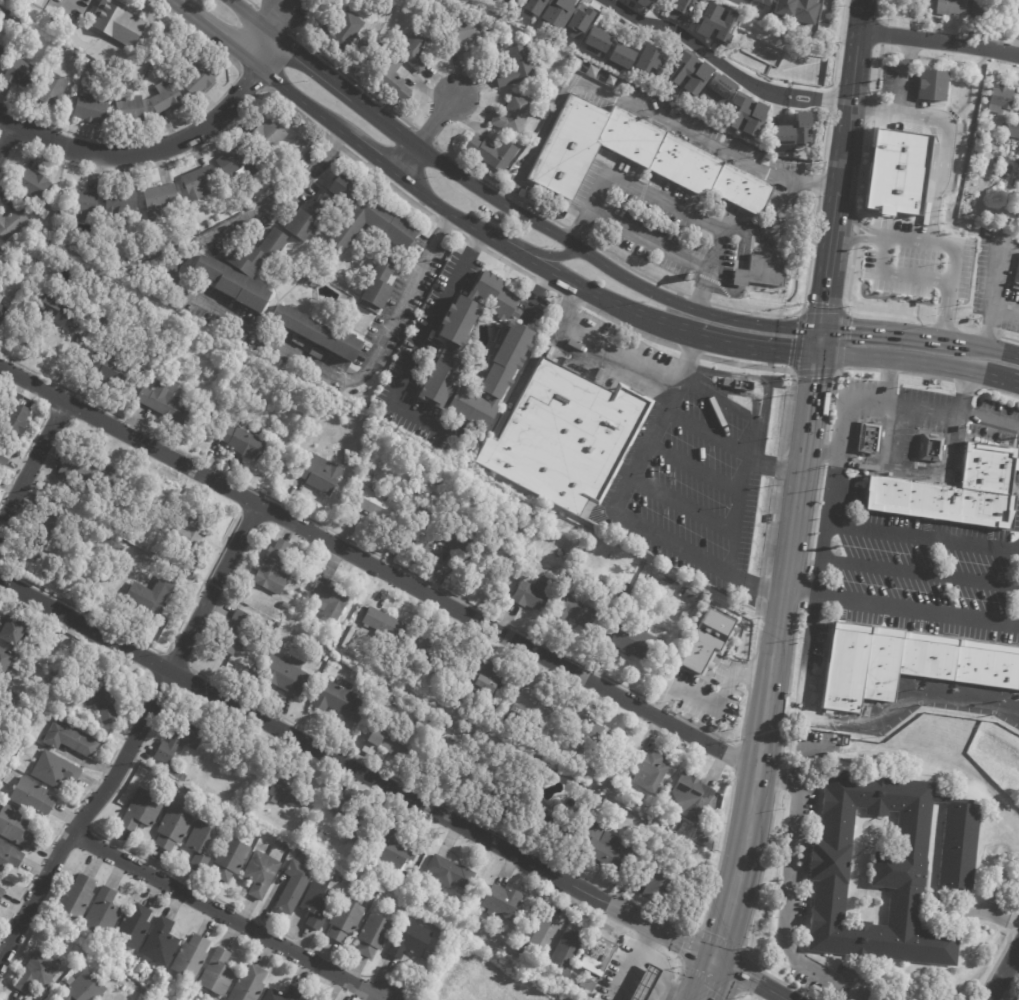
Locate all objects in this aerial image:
building: (643, 2)
building: (766, 2)
road: (252, 3)
building: (532, 7)
building: (949, 7)
road: (62, 8)
building: (976, 9)
building: (1014, 9)
road: (181, 10)
building: (677, 10)
building: (797, 10)
building: (556, 12)
road: (247, 13)
road: (876, 13)
road: (273, 15)
building: (11, 20)
road: (272, 20)
building: (578, 20)
building: (118, 23)
building: (714, 23)
building: (343, 32)
building: (465, 33)
road: (882, 33)
road: (689, 40)
road: (939, 41)
building: (595, 42)
road: (224, 43)
road: (260, 47)
building: (416, 50)
building: (2, 53)
road: (887, 53)
road: (907, 55)
building: (618, 58)
building: (647, 59)
road: (950, 61)
road: (309, 62)
road: (834, 63)
building: (517, 66)
road: (877, 69)
building: (689, 73)
building: (22, 74)
road: (903, 75)
building: (200, 77)
building: (391, 77)
road: (253, 80)
road: (351, 80)
road: (783, 82)
building: (930, 85)
building: (717, 89)
building: (52, 90)
road: (778, 92)
road: (850, 93)
road: (818, 94)
road: (777, 97)
road: (295, 98)
building: (167, 99)
road: (831, 99)
building: (999, 99)
road: (817, 104)
road: (873, 108)
building: (92, 109)
building: (129, 110)
building: (514, 114)
building: (745, 115)
building: (985, 120)
road: (180, 123)
building: (1012, 132)
road: (425, 133)
building: (268, 134)
building: (789, 134)
road: (7, 136)
road: (423, 136)
road: (20, 139)
building: (309, 140)
road: (702, 140)
road: (538, 141)
road: (334, 142)
road: (823, 143)
road: (364, 150)
road: (140, 151)
building: (494, 153)
building: (239, 159)
road: (171, 161)
building: (640, 161)
building: (1018, 162)
road: (865, 165)
road: (466, 169)
building: (1004, 170)
building: (895, 171)
building: (198, 181)
road: (387, 183)
road: (819, 184)
building: (1014, 184)
building: (345, 188)
road: (934, 188)
building: (36, 189)
road: (509, 196)
building: (122, 199)
building: (160, 200)
road: (663, 201)
building: (78, 204)
road: (782, 204)
road: (834, 206)
building: (1017, 212)
road: (541, 213)
road: (816, 213)
building: (308, 218)
building: (12, 223)
parking lot: (650, 223)
building: (375, 224)
road: (442, 224)
road: (745, 225)
road: (467, 227)
road: (857, 229)
road: (855, 230)
road: (575, 232)
road: (830, 232)
road: (800, 234)
road: (458, 235)
road: (909, 235)
road: (510, 238)
building: (45, 239)
road: (648, 239)
parking lot: (760, 239)
road: (812, 239)
road: (474, 244)
road: (570, 245)
building: (259, 252)
parking lot: (911, 260)
road: (507, 264)
road: (635, 271)
road: (896, 272)
building: (764, 274)
road: (849, 277)
building: (306, 280)
building: (1016, 280)
building: (233, 283)
road: (542, 283)
road: (822, 283)
building: (380, 284)
road: (556, 290)
parking lot: (998, 290)
road: (537, 292)
road: (992, 296)
building: (1, 297)
building: (497, 297)
road: (572, 298)
road: (698, 299)
building: (53, 308)
road: (1005, 308)
road: (800, 310)
road: (617, 311)
building: (3, 312)
road: (785, 315)
road: (888, 315)
building: (459, 322)
road: (943, 322)
building: (101, 325)
road: (243, 325)
traffic signals: (816, 327)
road: (628, 328)
road: (965, 328)
road: (867, 330)
building: (317, 332)
road: (987, 333)
road: (424, 335)
road: (1008, 338)
road: (930, 339)
building: (299, 341)
road: (815, 341)
road: (981, 349)
road: (752, 350)
road: (689, 352)
building: (316, 353)
parking lot: (604, 354)
traffic signals: (814, 356)
building: (476, 358)
road: (900, 360)
building: (111, 367)
road: (787, 370)
road: (887, 370)
road: (924, 375)
building: (495, 377)
building: (442, 379)
road: (997, 379)
road: (884, 381)
building: (929, 381)
road: (831, 383)
road: (966, 383)
road: (1014, 384)
building: (737, 387)
road: (999, 391)
road: (53, 395)
road: (708, 395)
building: (831, 395)
building: (167, 400)
road: (893, 405)
parking lot: (892, 408)
building: (15, 419)
building: (363, 421)
road: (988, 421)
road: (804, 431)
road: (890, 435)
building: (564, 438)
building: (872, 439)
building: (242, 441)
parking lot: (911, 444)
road: (728, 446)
building: (929, 449)
road: (24, 453)
road: (821, 453)
building: (363, 455)
building: (3, 456)
road: (31, 463)
road: (779, 466)
road: (695, 468)
building: (88, 471)
building: (355, 471)
road: (919, 471)
building: (320, 473)
parking lot: (695, 489)
building: (952, 493)
road: (245, 499)
building: (125, 504)
road: (685, 506)
building: (381, 507)
road: (619, 509)
building: (6, 517)
road: (812, 520)
road: (770, 527)
road: (328, 529)
road: (875, 529)
building: (189, 530)
building: (467, 532)
building: (46, 533)
building: (101, 534)
building: (127, 535)
building: (121, 544)
building: (274, 568)
road: (377, 568)
building: (635, 570)
parking lot: (914, 570)
road: (919, 572)
building: (624, 588)
road: (763, 588)
road: (801, 589)
building: (535, 593)
building: (152, 595)
building: (692, 596)
building: (330, 599)
building: (286, 606)
road: (899, 610)
building: (575, 611)
road: (812, 611)
road: (38, 614)
road: (1016, 621)
building: (385, 623)
road: (758, 628)
building: (12, 630)
building: (235, 632)
building: (337, 637)
building: (708, 640)
building: (73, 641)
building: (638, 641)
road: (153, 648)
building: (426, 652)
road: (792, 652)
building: (905, 660)
building: (5, 661)
road: (176, 661)
road: (751, 672)
building: (285, 674)
building: (487, 679)
road: (767, 688)
building: (387, 689)
road: (722, 694)
building: (103, 698)
building: (339, 700)
road: (666, 702)
building: (386, 705)
road: (665, 706)
building: (539, 708)
road: (893, 708)
road: (784, 712)
road: (135, 734)
building: (593, 736)
building: (71, 740)
building: (180, 742)
building: (388, 742)
road: (729, 743)
building: (544, 744)
road: (780, 747)
road: (737, 757)
building: (649, 769)
building: (55, 770)
road: (357, 770)
building: (543, 770)
building: (176, 774)
road: (776, 780)
building: (611, 785)
building: (285, 789)
building: (692, 796)
building: (32, 797)
building: (490, 797)
building: (595, 799)
building: (606, 804)
building: (349, 807)
building: (142, 810)
road: (78, 823)
building: (545, 823)
building: (15, 827)
building: (173, 828)
building: (359, 835)
road: (52, 839)
road: (514, 841)
building: (709, 842)
building: (204, 843)
building: (604, 846)
building: (395, 849)
building: (643, 850)
building: (10, 856)
building: (231, 859)
building: (885, 869)
building: (451, 873)
building: (261, 874)
building: (371, 880)
building: (379, 884)
building: (660, 885)
building: (295, 886)
building: (412, 889)
road: (786, 890)
building: (2, 893)
building: (77, 897)
building: (502, 901)
building: (319, 905)
road: (236, 908)
building: (103, 913)
road: (725, 914)
road: (750, 915)
road: (221, 916)
building: (346, 920)
building: (134, 927)
road: (1013, 932)
building: (533, 934)
building: (374, 935)
building: (410, 940)
road: (645, 940)
building: (161, 943)
building: (567, 952)
building: (599, 956)
building: (191, 958)
traffic signals: (714, 962)
road: (686, 966)
road: (681, 967)
road: (664, 970)
road: (991, 971)
building: (38, 973)
building: (218, 973)
road: (1005, 974)
road: (626, 976)
road: (706, 981)
road: (748, 981)
building: (593, 982)
building: (643, 983)
gas station: (649, 984)
building: (249, 985)
building: (84, 988)
building: (196, 990)
road: (673, 990)
road: (1013, 990)
road: (740, 993)
building: (294, 994)
road: (666, 994)

